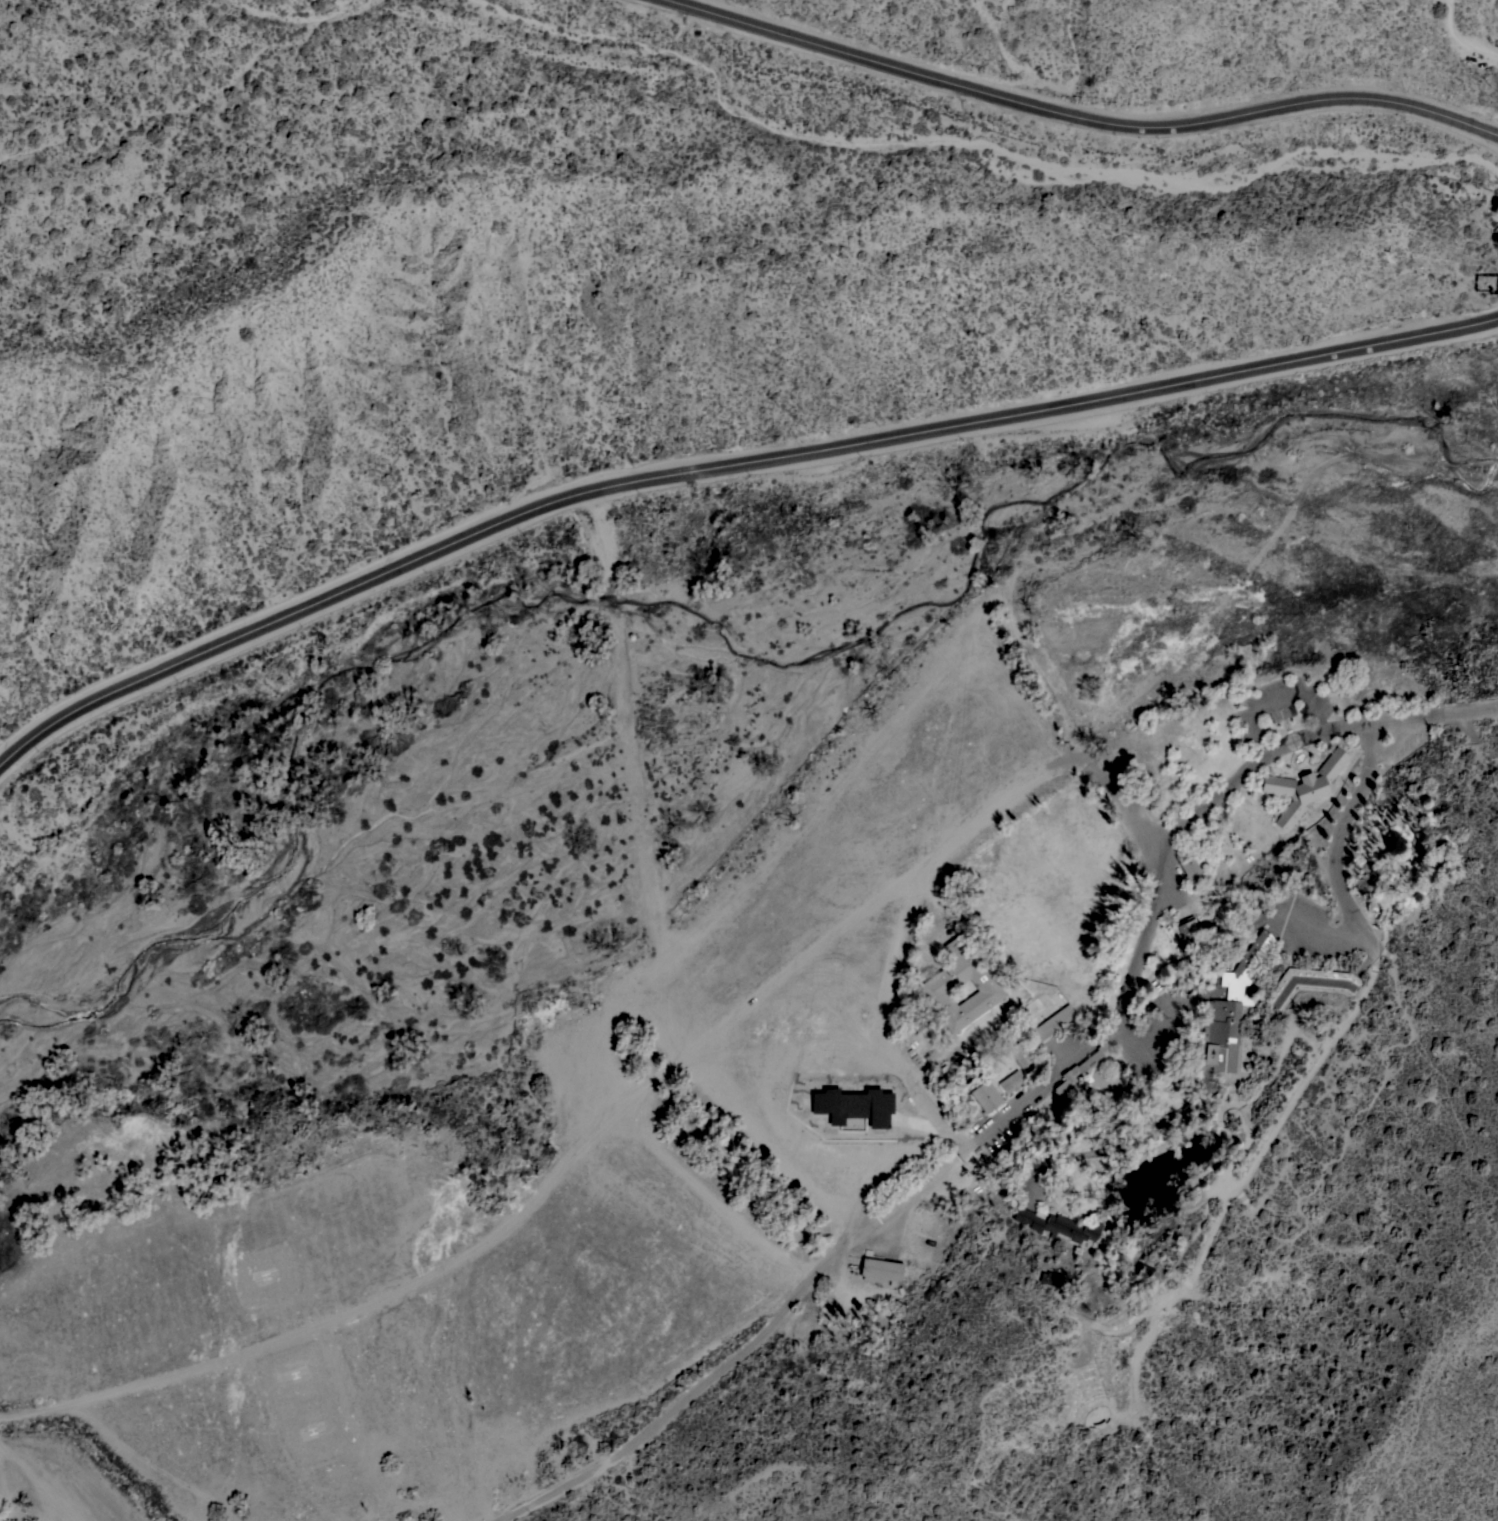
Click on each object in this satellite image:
road: (1081, 119)
building: (1496, 230)
road: (722, 466)
road: (1275, 702)
road: (1403, 740)
building: (1304, 787)
road: (1335, 856)
building: (1191, 869)
building: (1187, 932)
building: (942, 982)
building: (1309, 982)
building: (1230, 1010)
building: (1052, 1023)
building: (1020, 1054)
building: (1088, 1075)
building: (952, 1079)
building: (1011, 1081)
building: (984, 1094)
road: (1026, 1098)
building: (851, 1107)
road: (621, 1118)
building: (1058, 1224)
building: (881, 1270)
building: (1143, 1271)
airport apron: (269, 1275)
helipad: (272, 1276)
building: (1050, 1278)
helipad: (300, 1373)
airport apron: (310, 1403)
helipad: (318, 1431)
road: (41, 1483)

